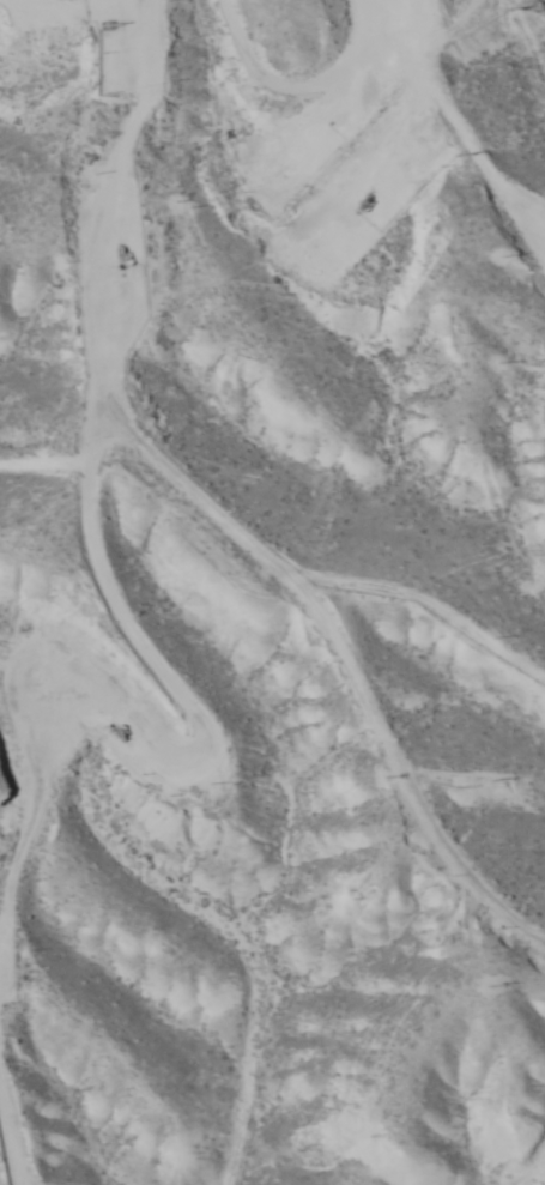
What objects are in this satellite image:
road: (341, 74)
road: (85, 521)
road: (343, 695)
road: (14, 848)
road: (520, 1133)
road: (12, 1139)

